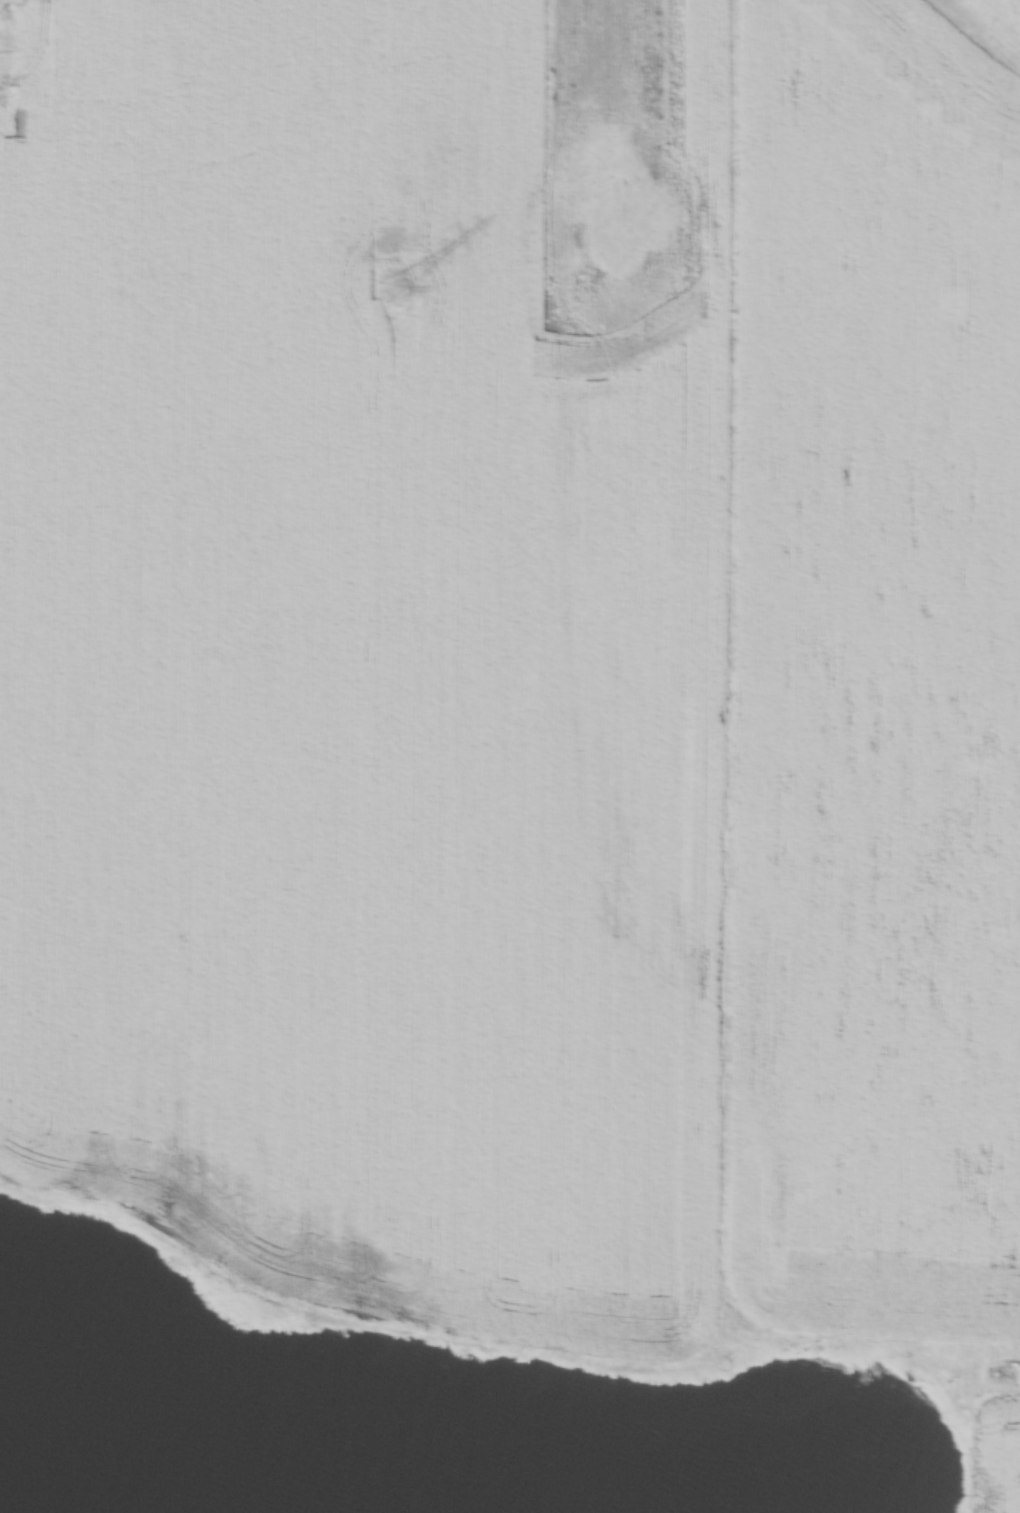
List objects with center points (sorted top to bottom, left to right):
power tower: (393, 288)

